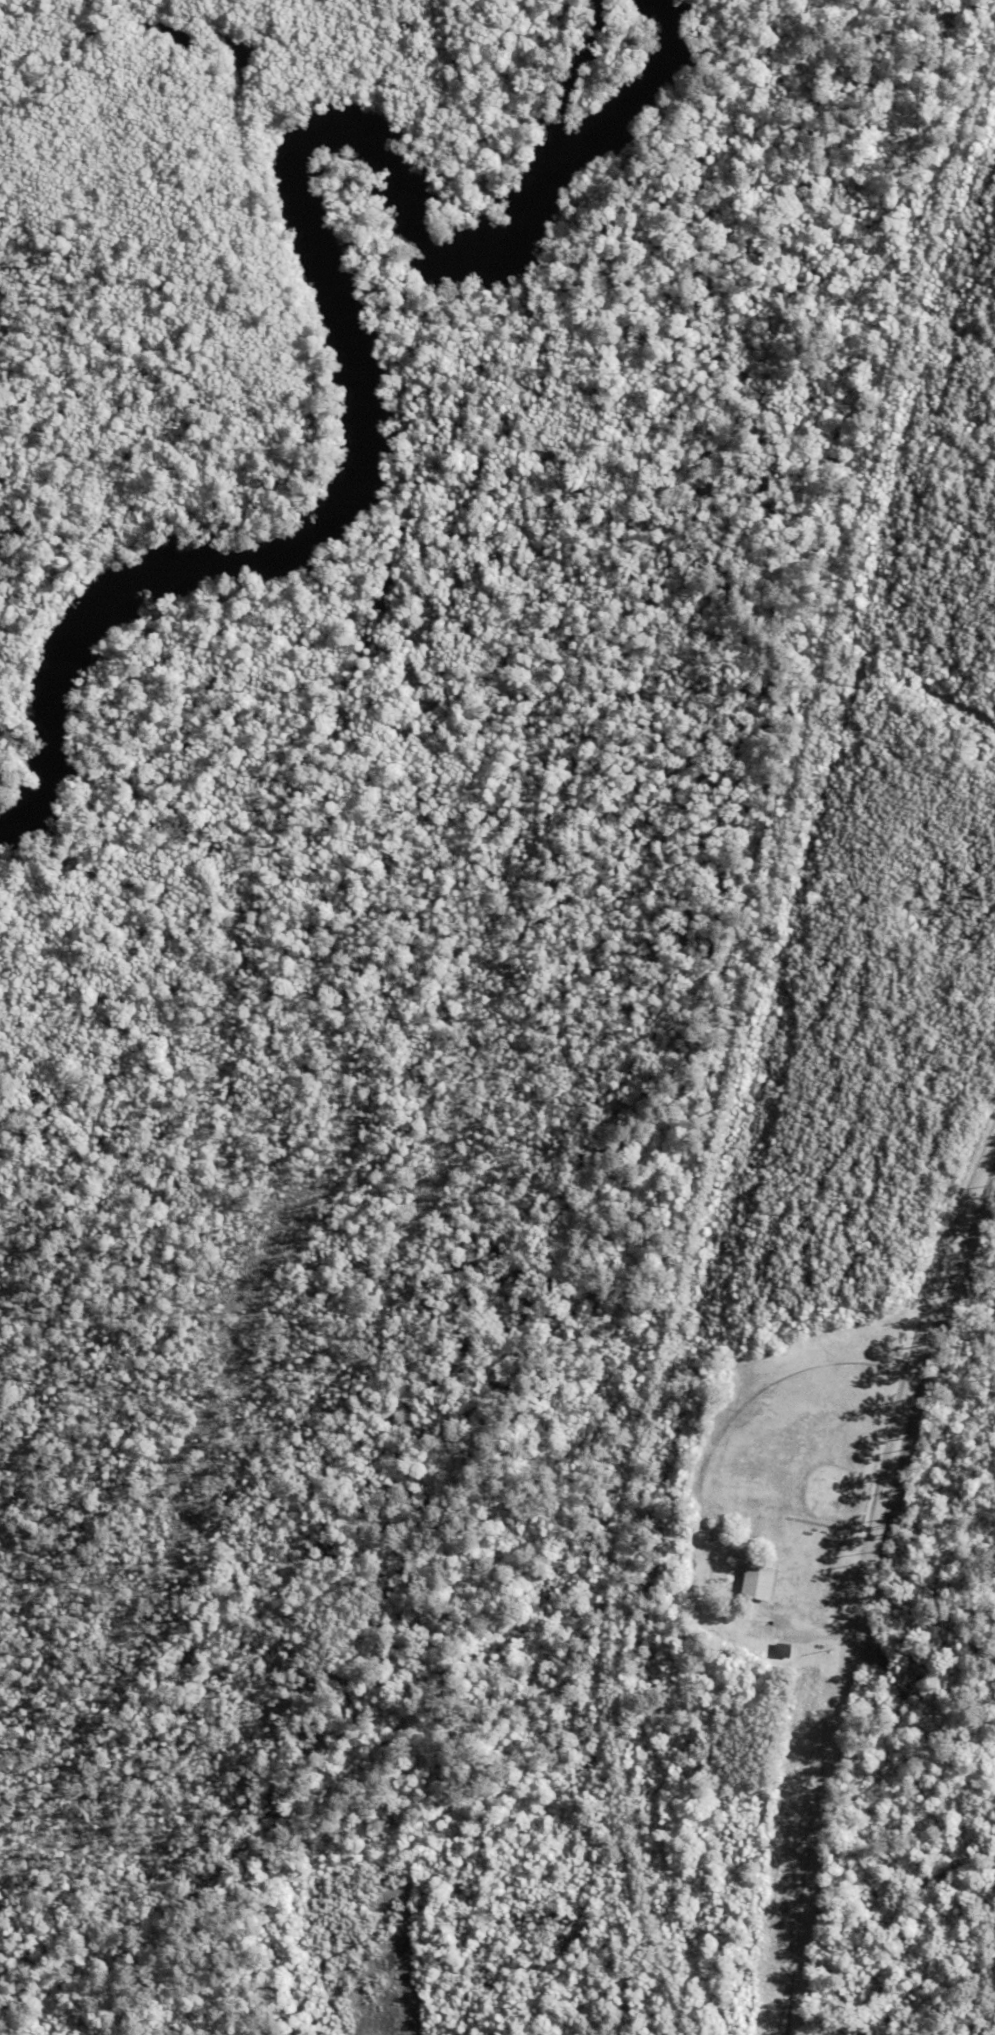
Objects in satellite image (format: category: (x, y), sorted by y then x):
road: (863, 1577)
building: (760, 1582)
building: (784, 1652)

